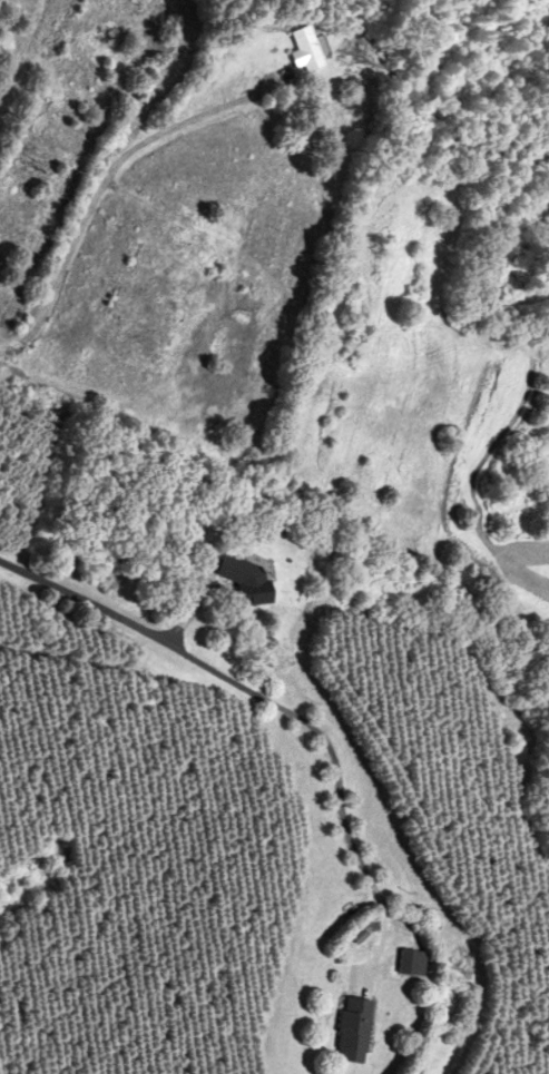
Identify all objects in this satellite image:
building: (144, 9)
building: (305, 49)
road: (104, 179)
building: (182, 231)
building: (146, 307)
building: (202, 454)
building: (242, 579)
road: (144, 631)
road: (346, 837)
building: (410, 963)
building: (350, 1032)

